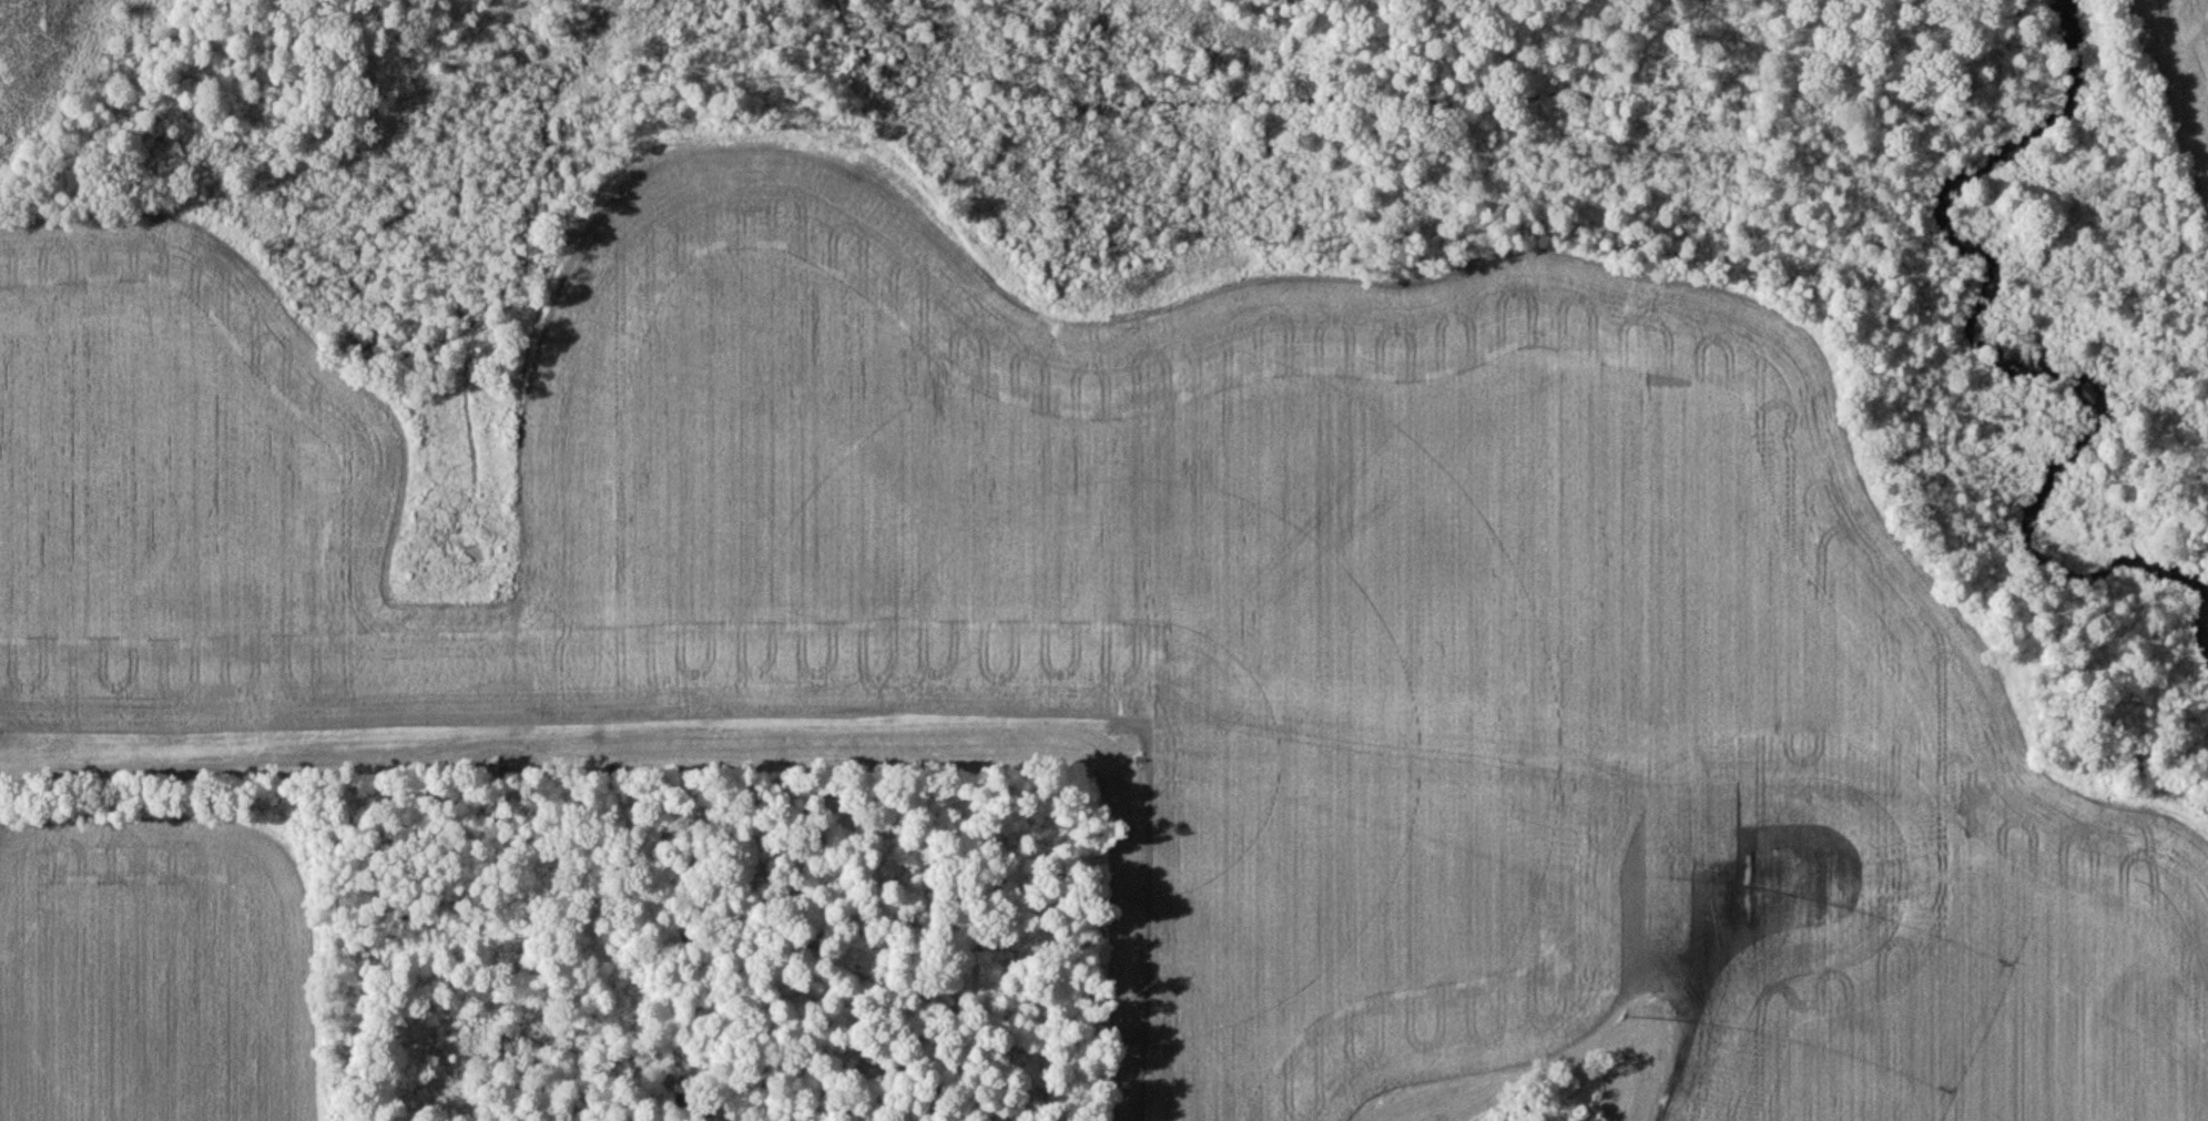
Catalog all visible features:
road: (558, 732)

